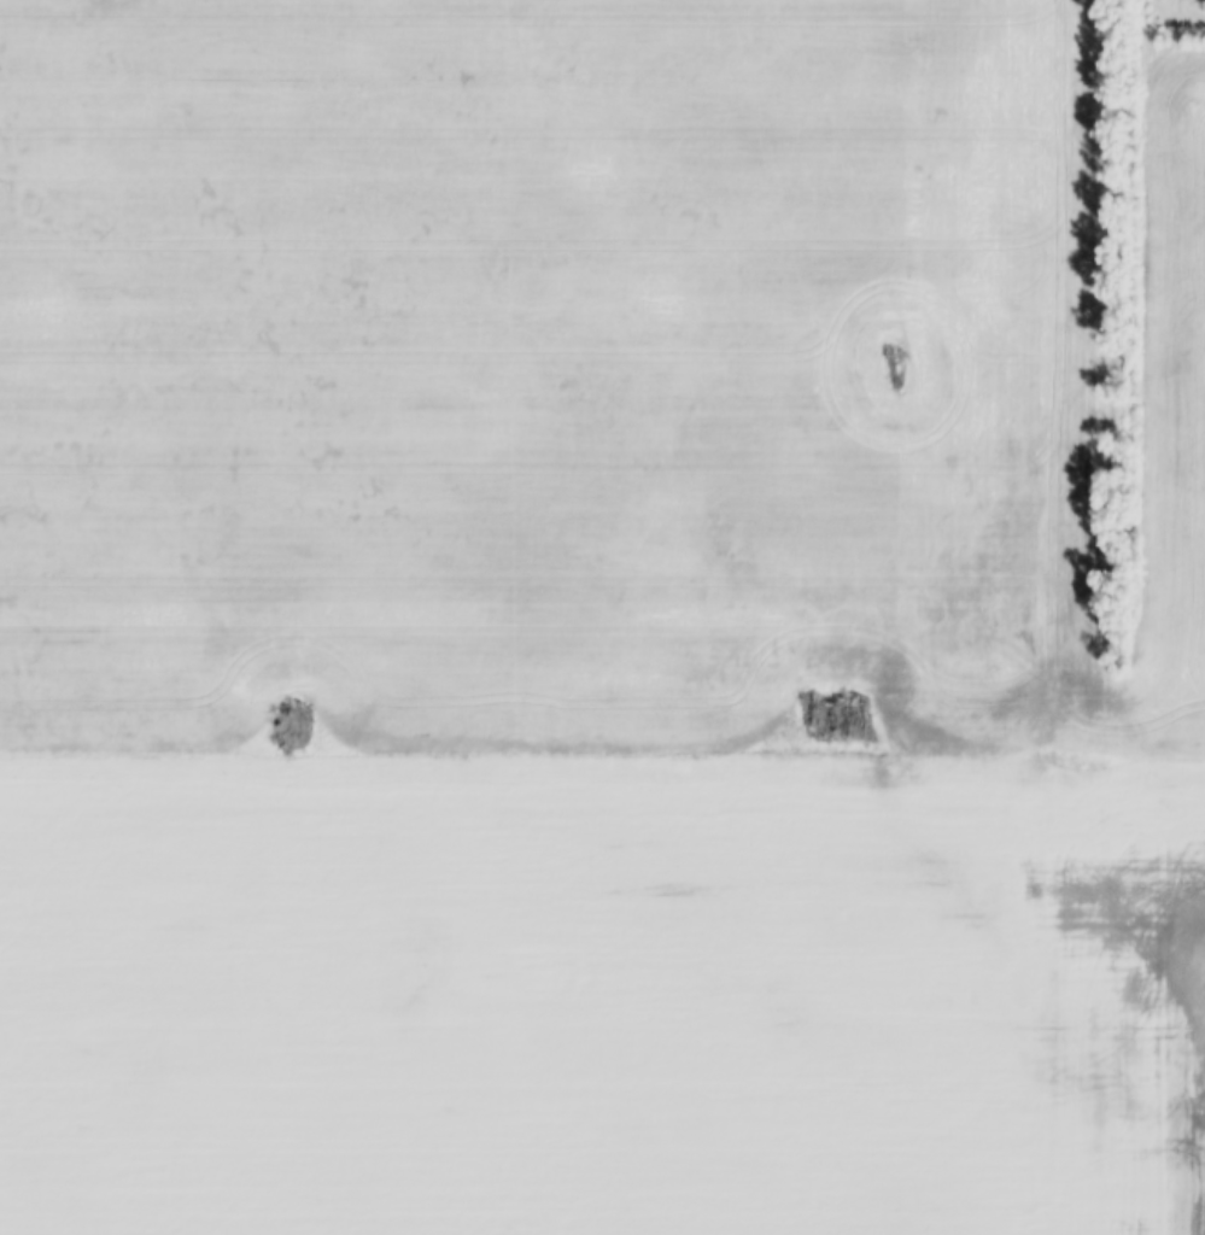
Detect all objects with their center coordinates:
building: (1201, 1)

